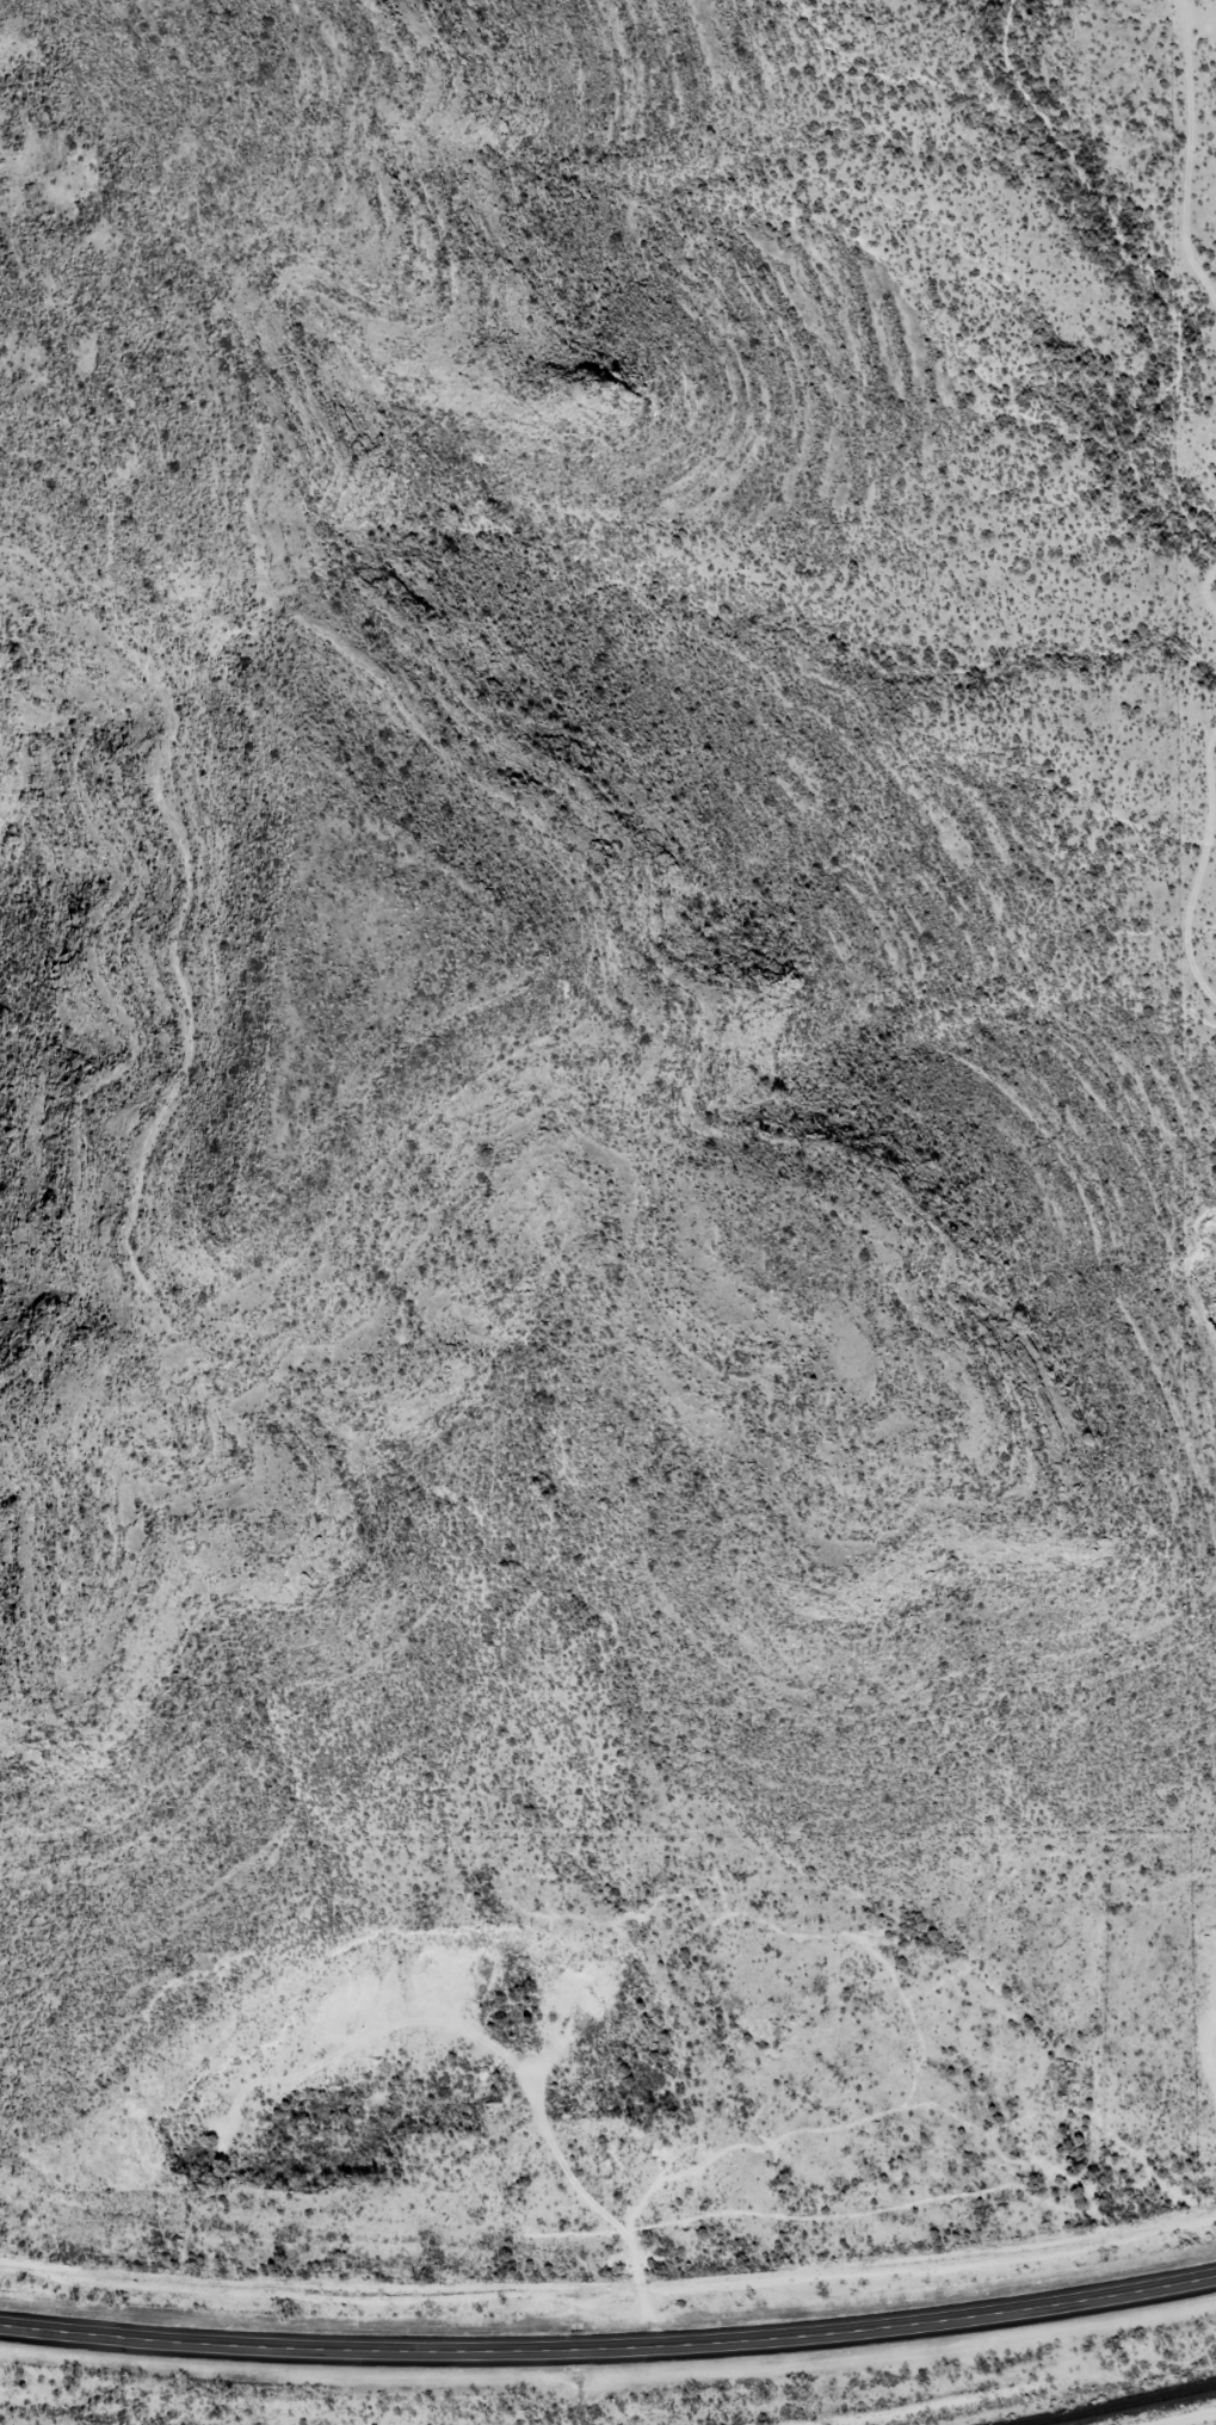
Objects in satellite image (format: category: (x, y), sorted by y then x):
road: (610, 2346)
railway: (1109, 2405)

